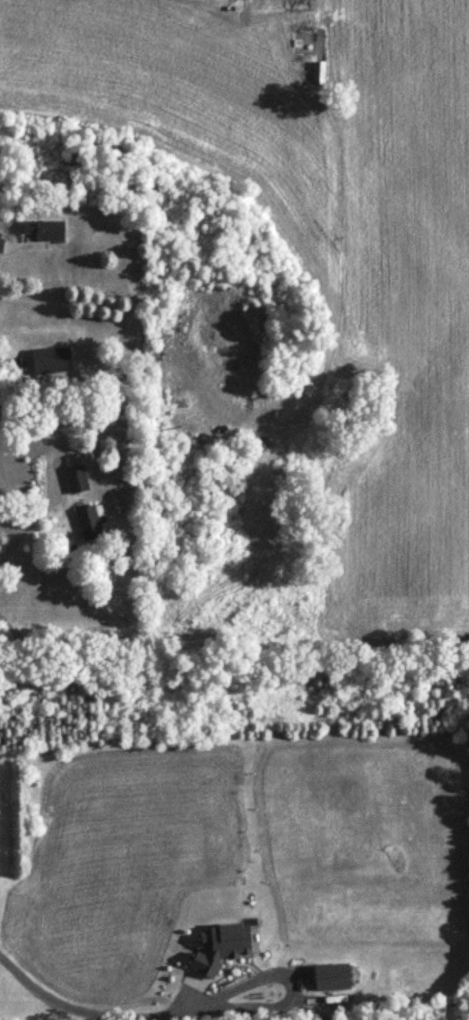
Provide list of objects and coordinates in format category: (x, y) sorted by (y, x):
building: (295, 4)
building: (41, 231)
building: (0, 244)
building: (49, 360)
building: (76, 479)
road: (33, 517)
building: (87, 523)
road: (93, 1014)

